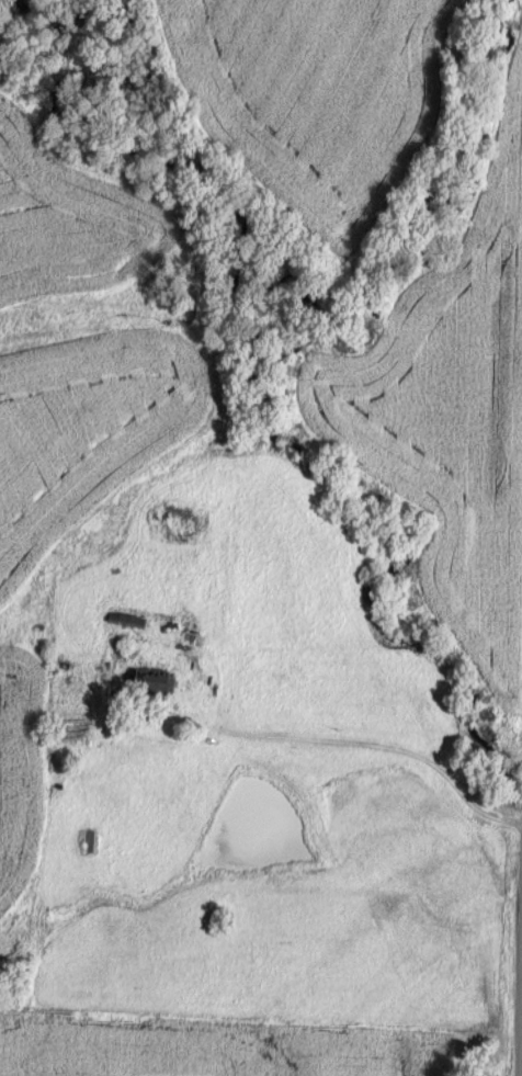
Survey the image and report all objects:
building: (161, 682)
road: (388, 748)
road: (521, 975)

